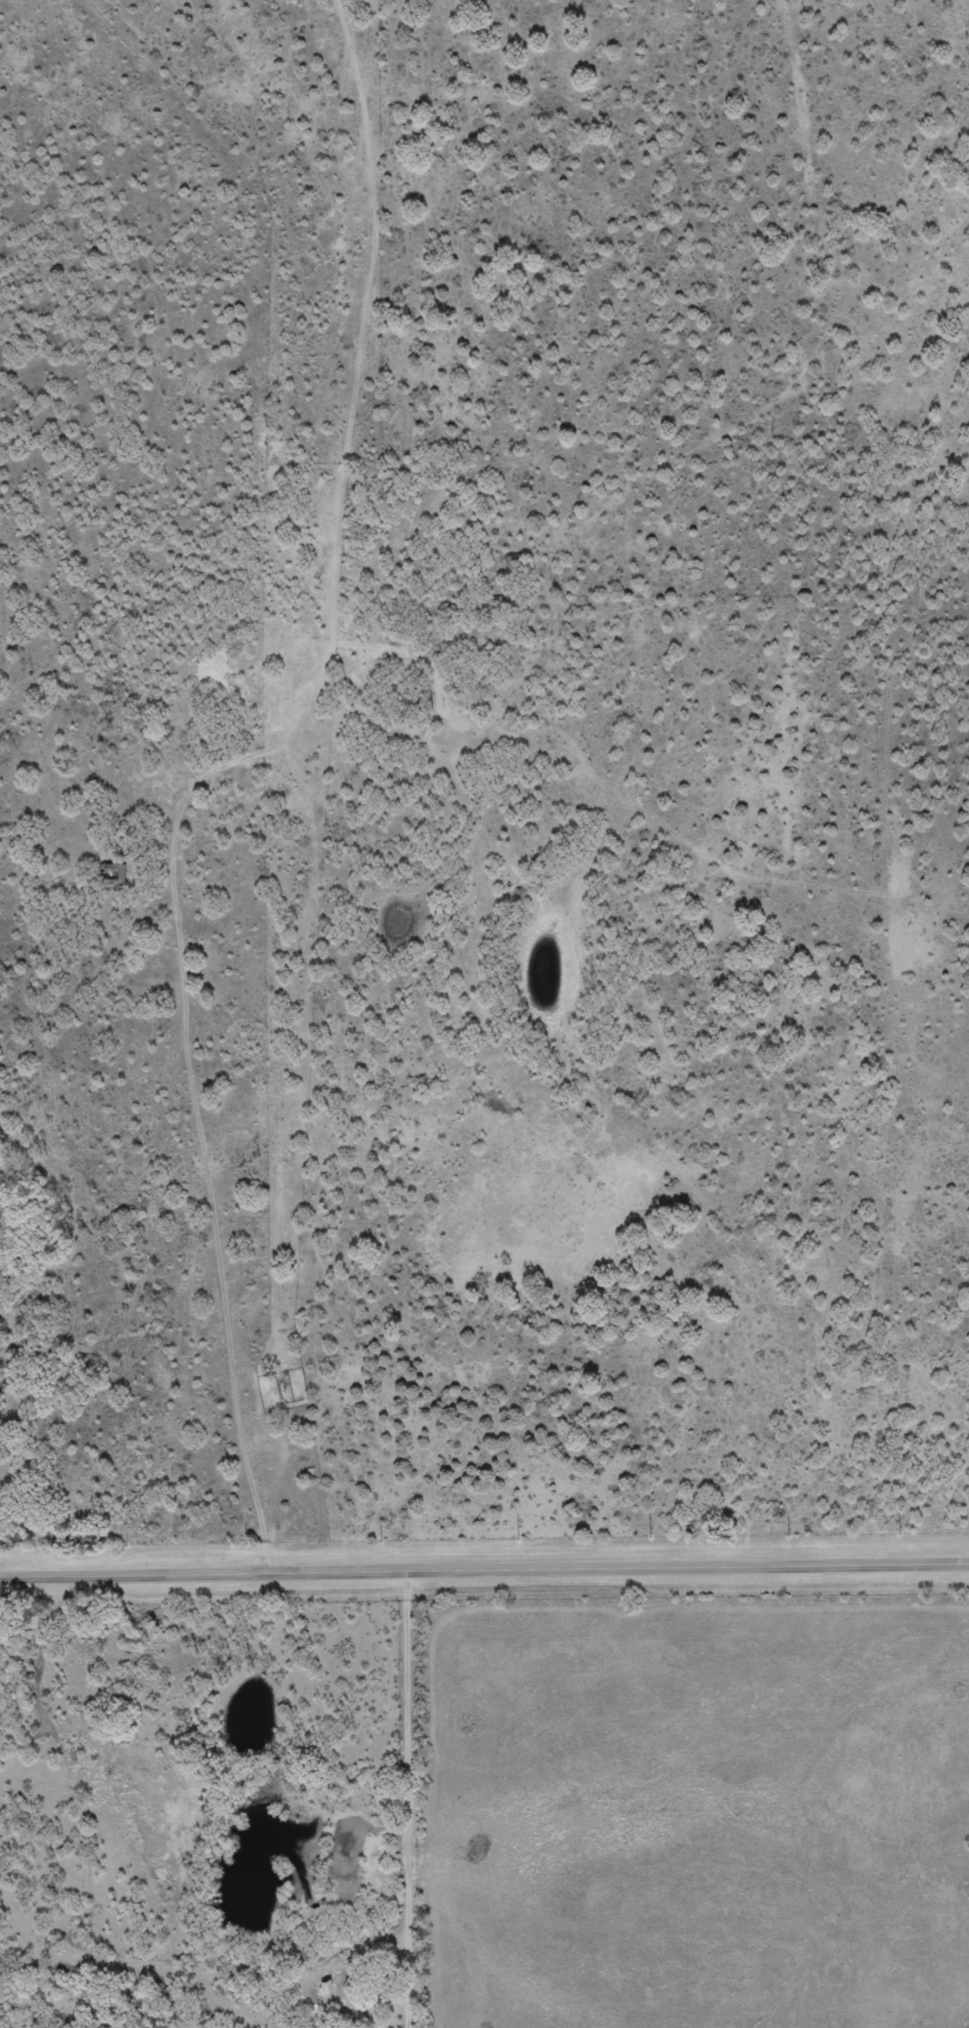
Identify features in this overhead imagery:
road: (484, 1574)
road: (409, 1801)
building: (327, 2003)

